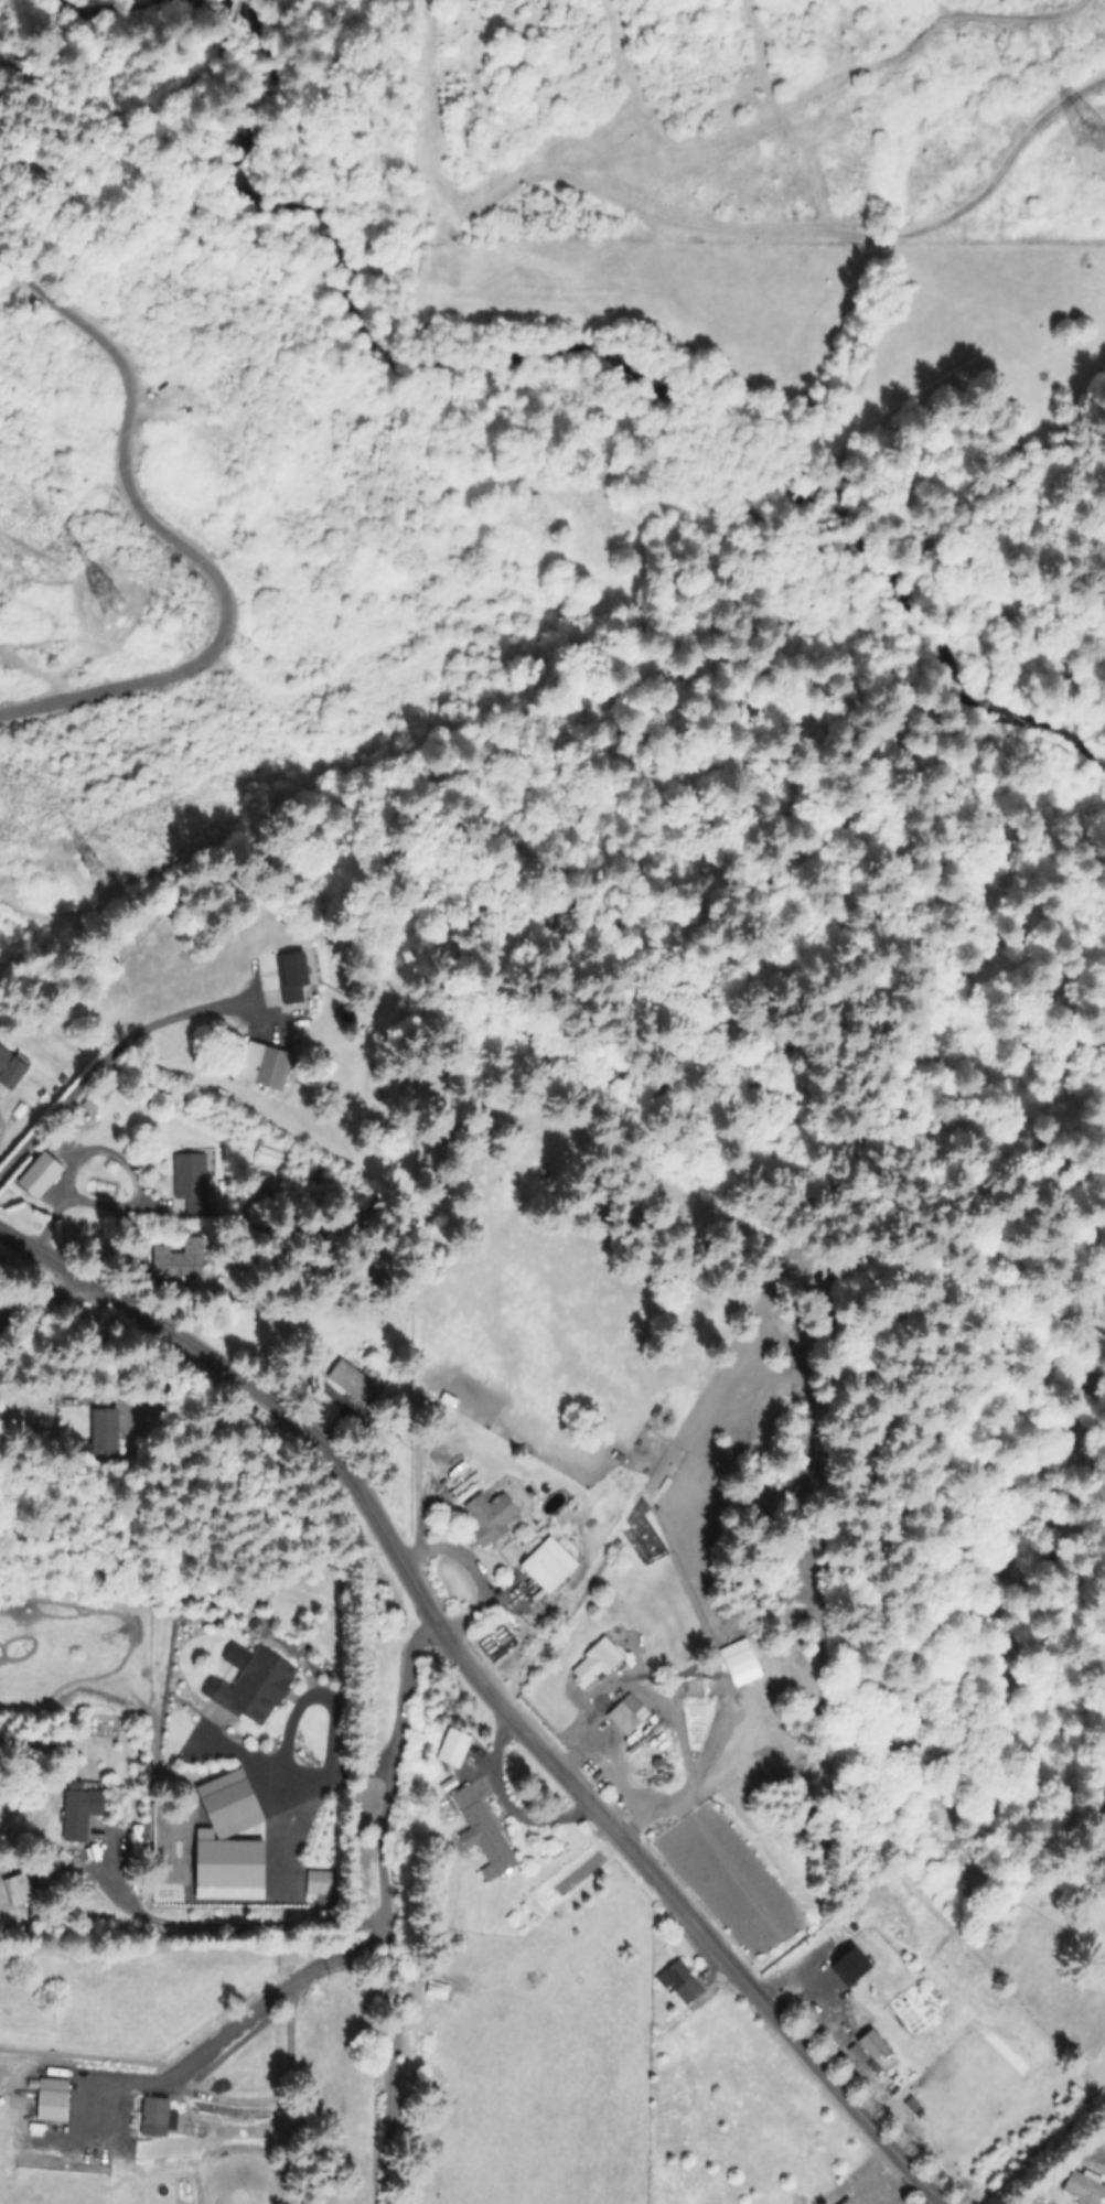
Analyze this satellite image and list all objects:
power tower: (1086, 129)
building: (400, 342)
road: (172, 542)
power tower: (97, 601)
power tower: (88, 869)
building: (294, 976)
building: (300, 1012)
building: (279, 1035)
road: (106, 1046)
building: (11, 1066)
building: (275, 1068)
building: (41, 1162)
building: (187, 1185)
building: (176, 1259)
road: (43, 1298)
building: (353, 1379)
building: (106, 1430)
building: (385, 1438)
building: (491, 1517)
building: (548, 1565)
road: (475, 1566)
building: (686, 1660)
building: (741, 1662)
building: (601, 1664)
building: (255, 1682)
road: (314, 1692)
road: (486, 1692)
building: (631, 1719)
building: (454, 1748)
road: (604, 1768)
road: (291, 1776)
road: (688, 1786)
building: (232, 1803)
building: (81, 1813)
road: (625, 1820)
building: (486, 1832)
building: (20, 1889)
road: (376, 1905)
road: (228, 1926)
building: (845, 1927)
road: (807, 1971)
building: (889, 1986)
building: (437, 1989)
road: (218, 2036)
road: (282, 2040)
building: (875, 2044)
road: (222, 2094)
building: (55, 2099)
building: (98, 2107)
building: (159, 2114)
building: (1085, 2186)
building: (848, 2202)

